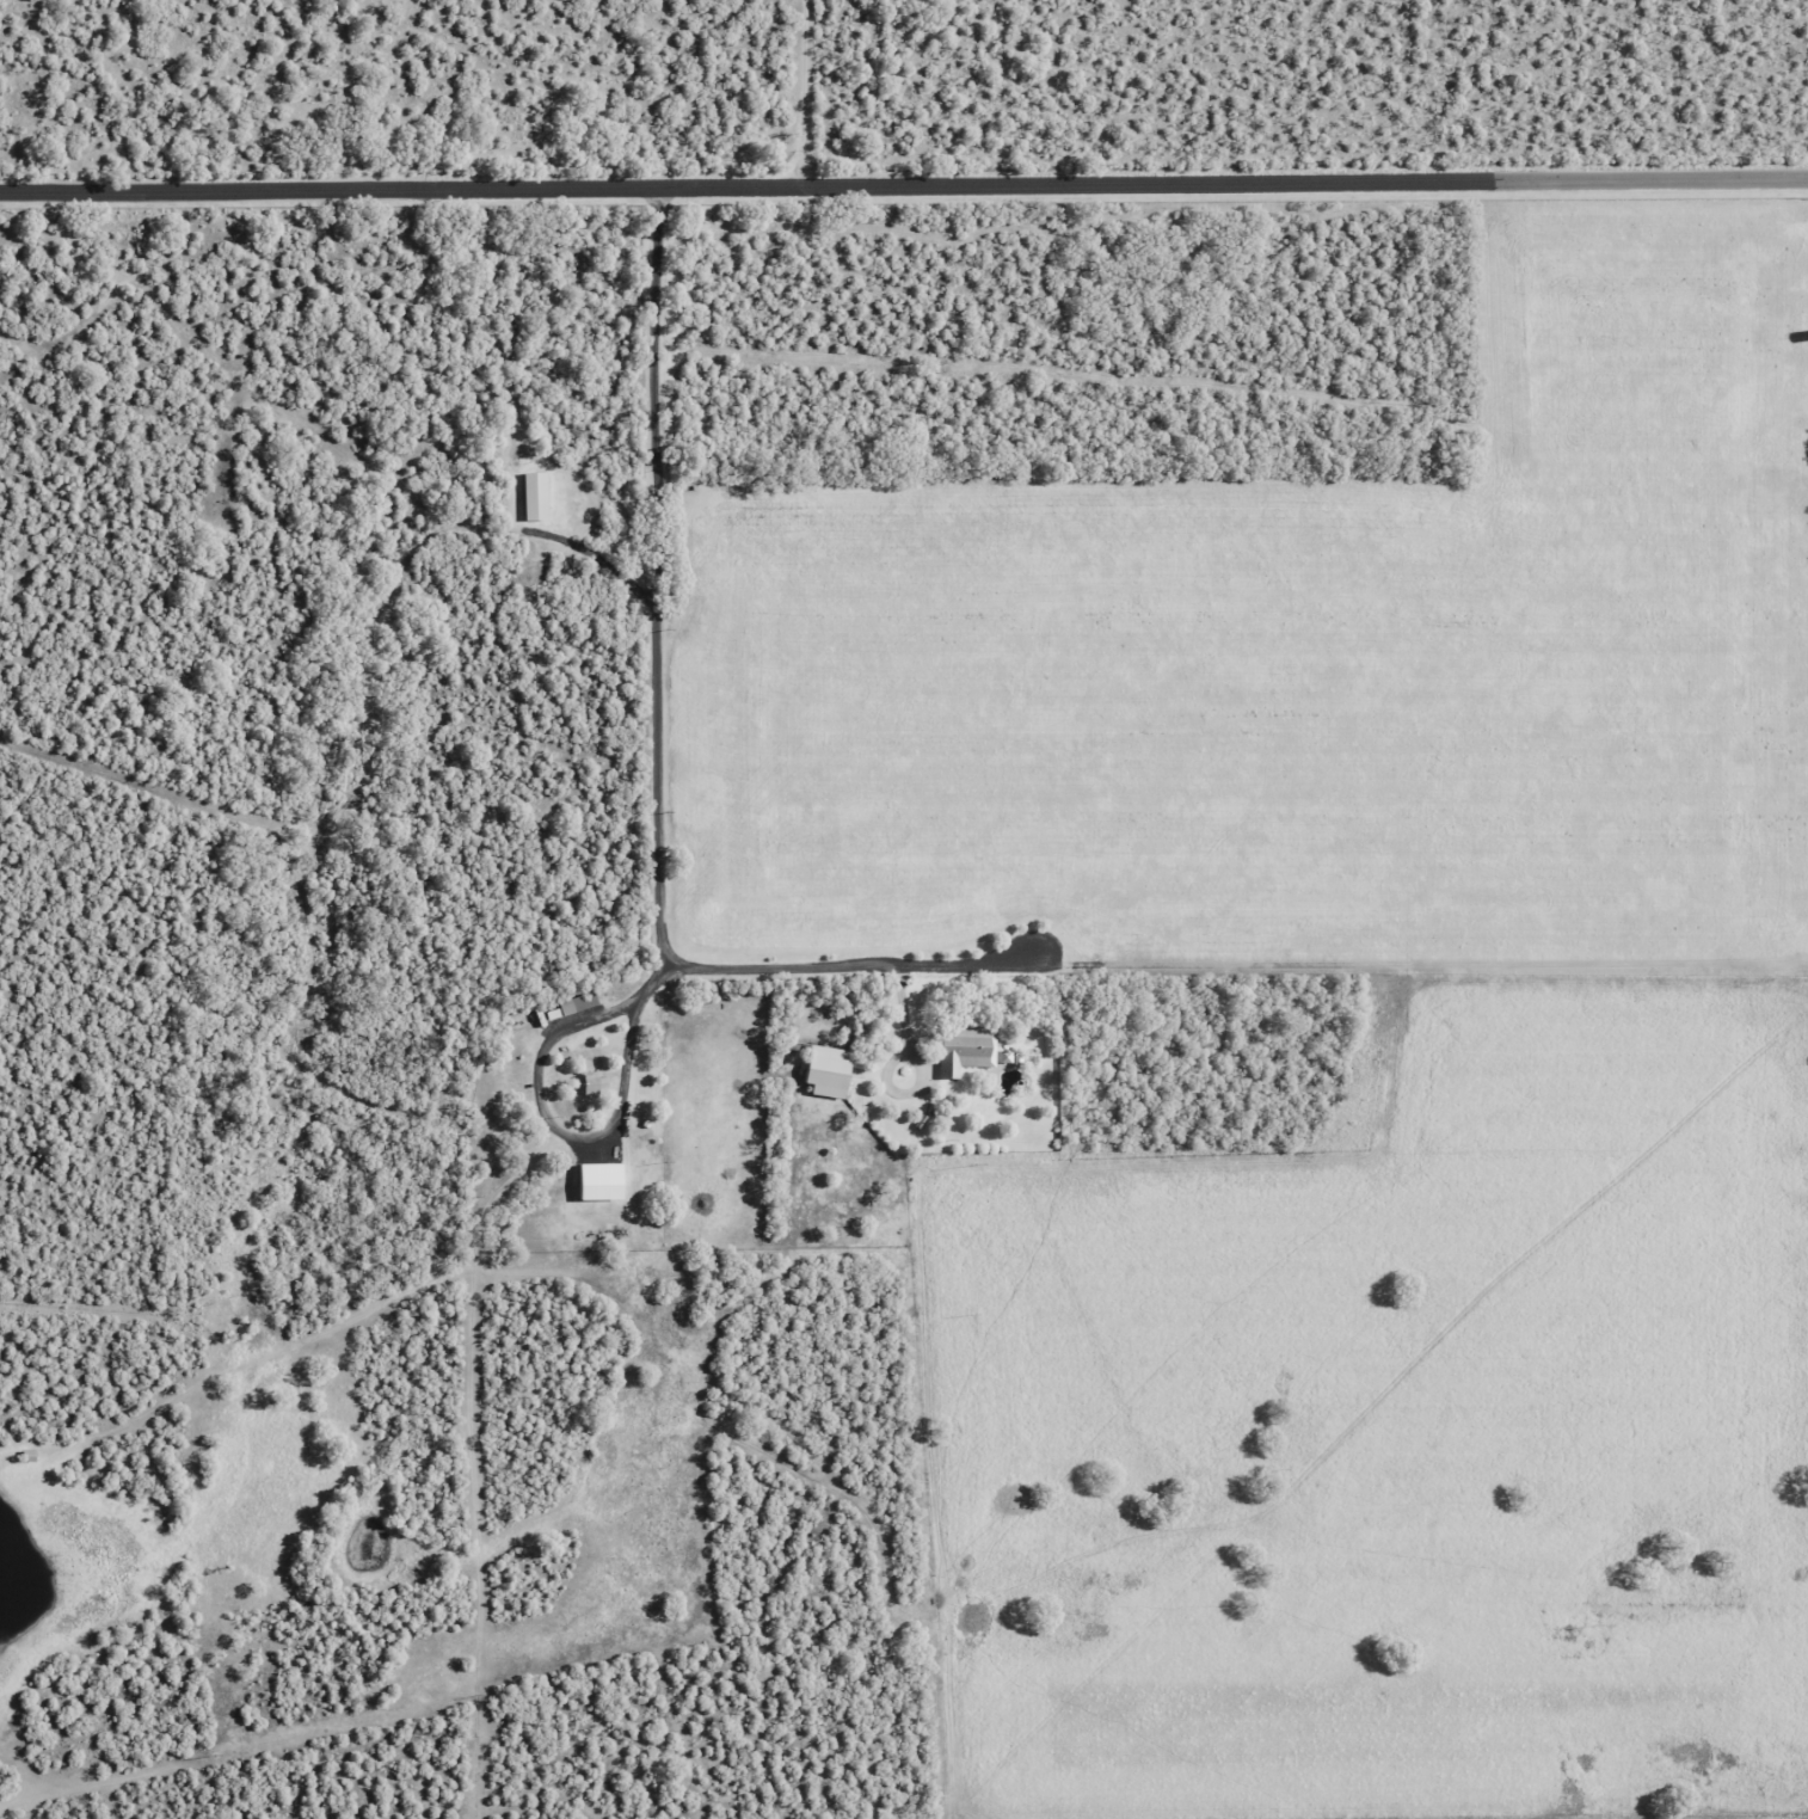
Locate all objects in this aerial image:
road: (801, 92)
road: (903, 185)
road: (656, 576)
road: (848, 970)
building: (577, 1002)
building: (964, 1049)
building: (828, 1069)
building: (591, 1082)
road: (541, 1105)

